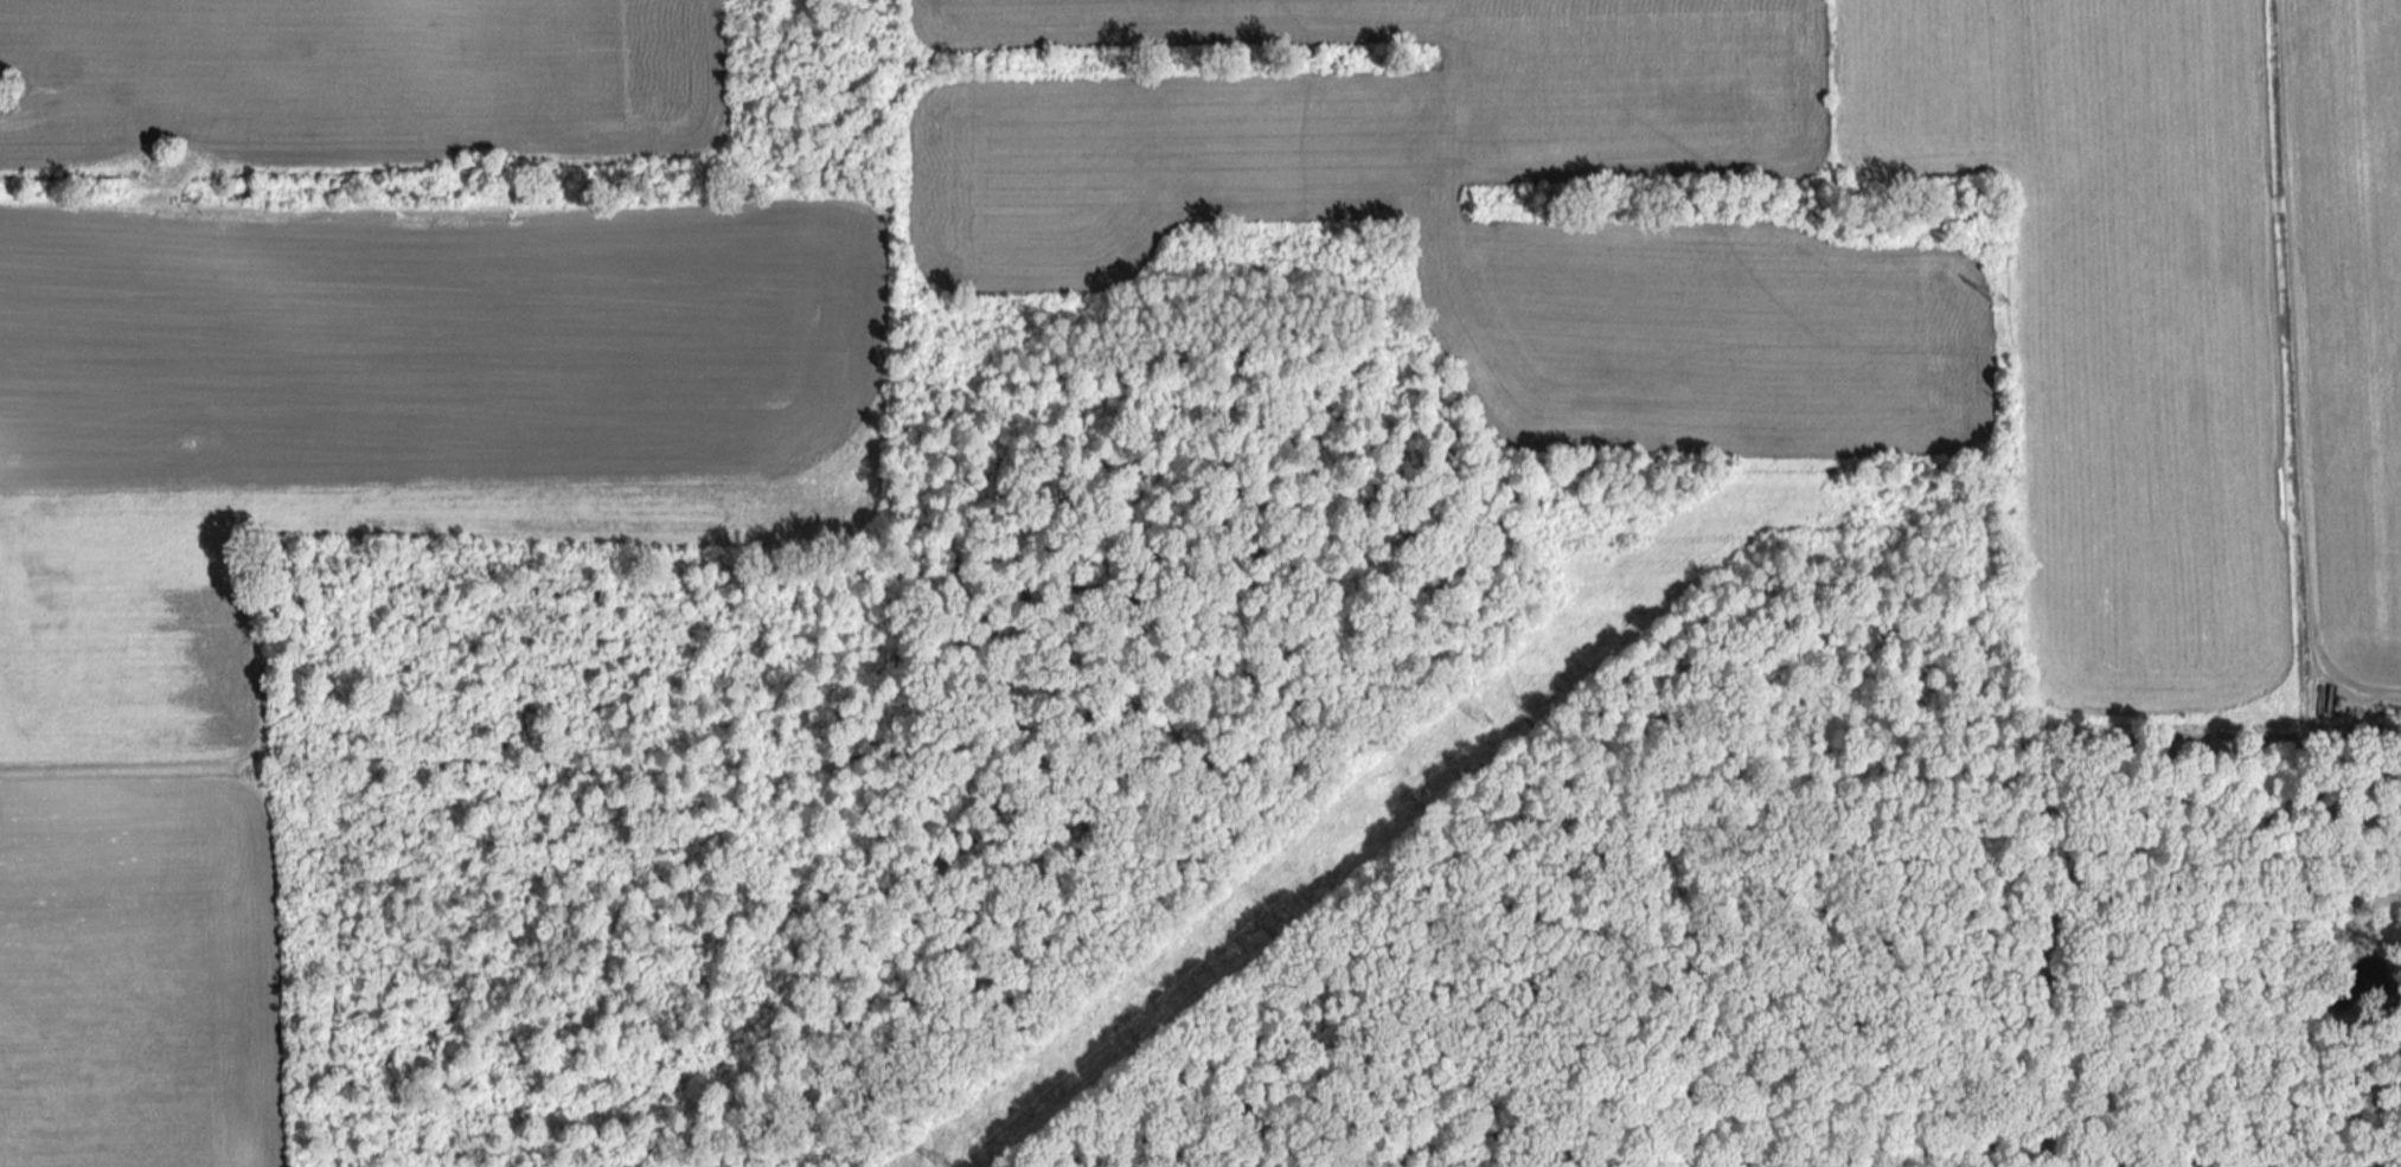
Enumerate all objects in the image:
crop: (358, 82)
crop: (1599, 229)
power tower: (1997, 297)
crop: (2355, 319)
crop: (2114, 320)
power tower: (1481, 723)
crop: (134, 737)
power tower: (947, 1163)

